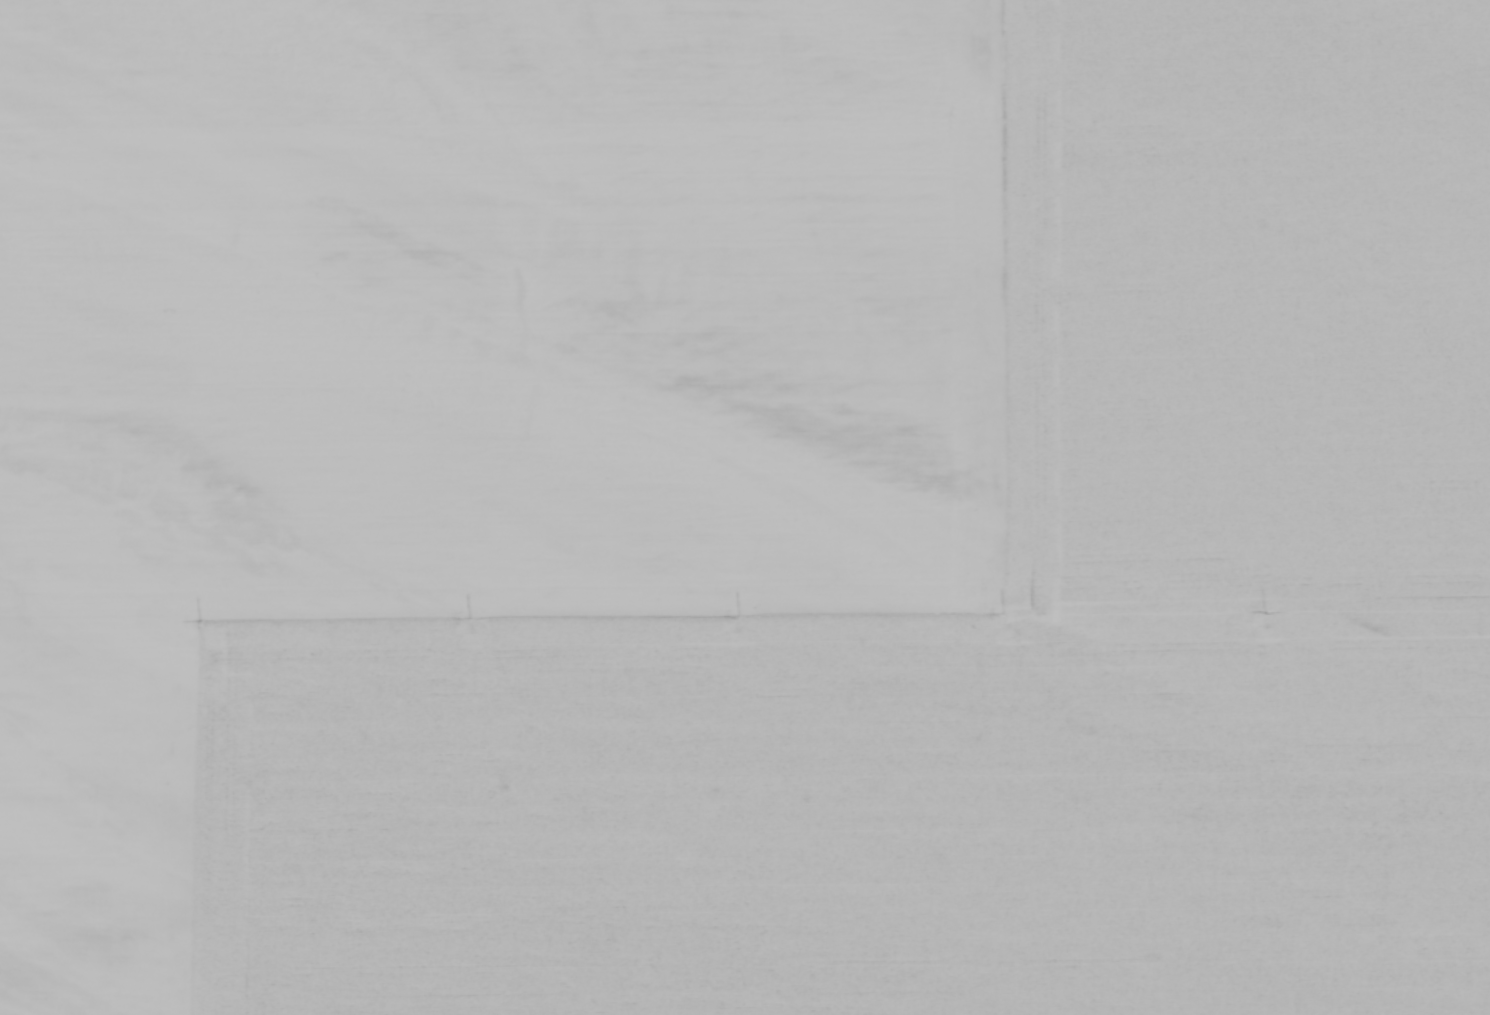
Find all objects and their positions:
power tower: (1265, 611)
power tower: (1006, 612)
power tower: (739, 615)
power tower: (470, 618)
power tower: (200, 620)

